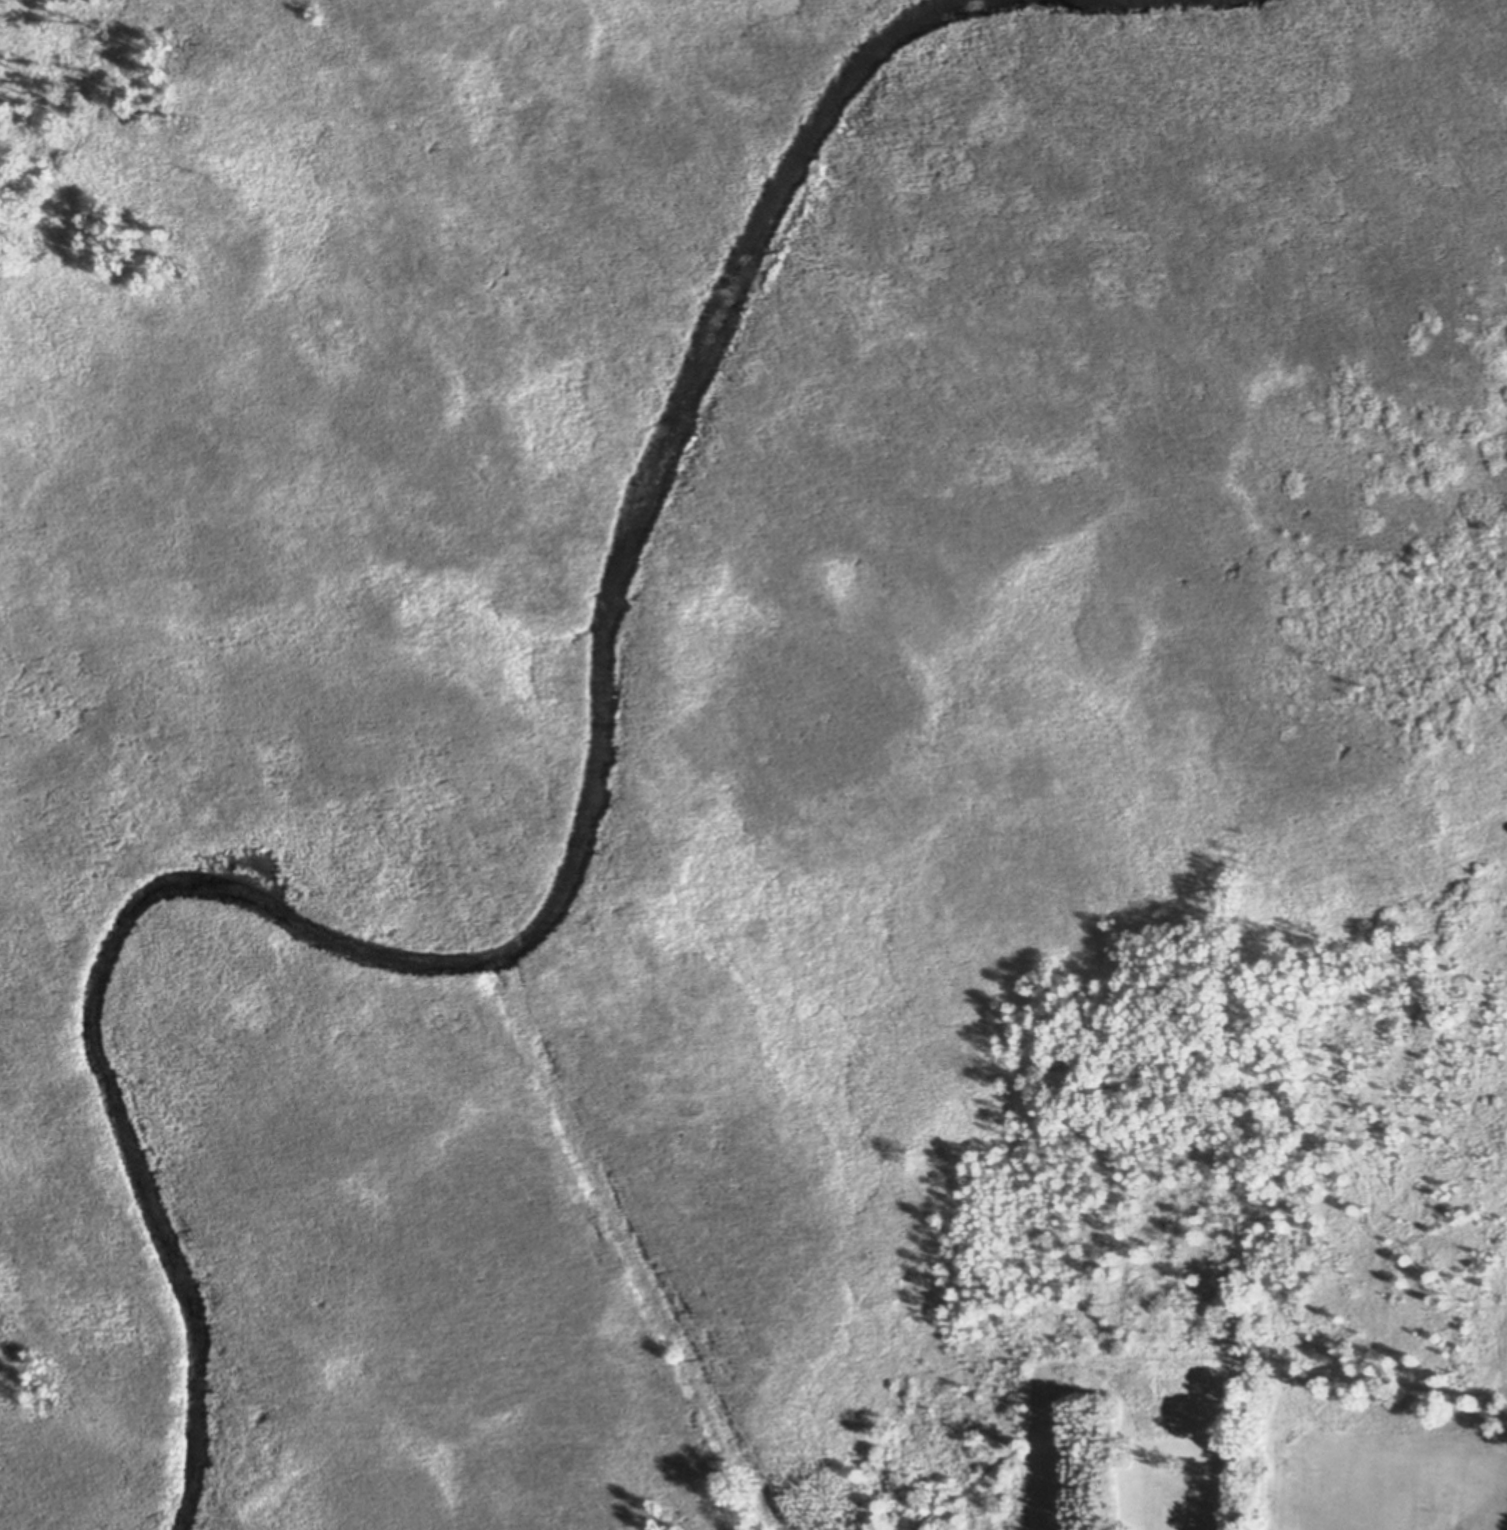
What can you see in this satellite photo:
river: (523, 939)

